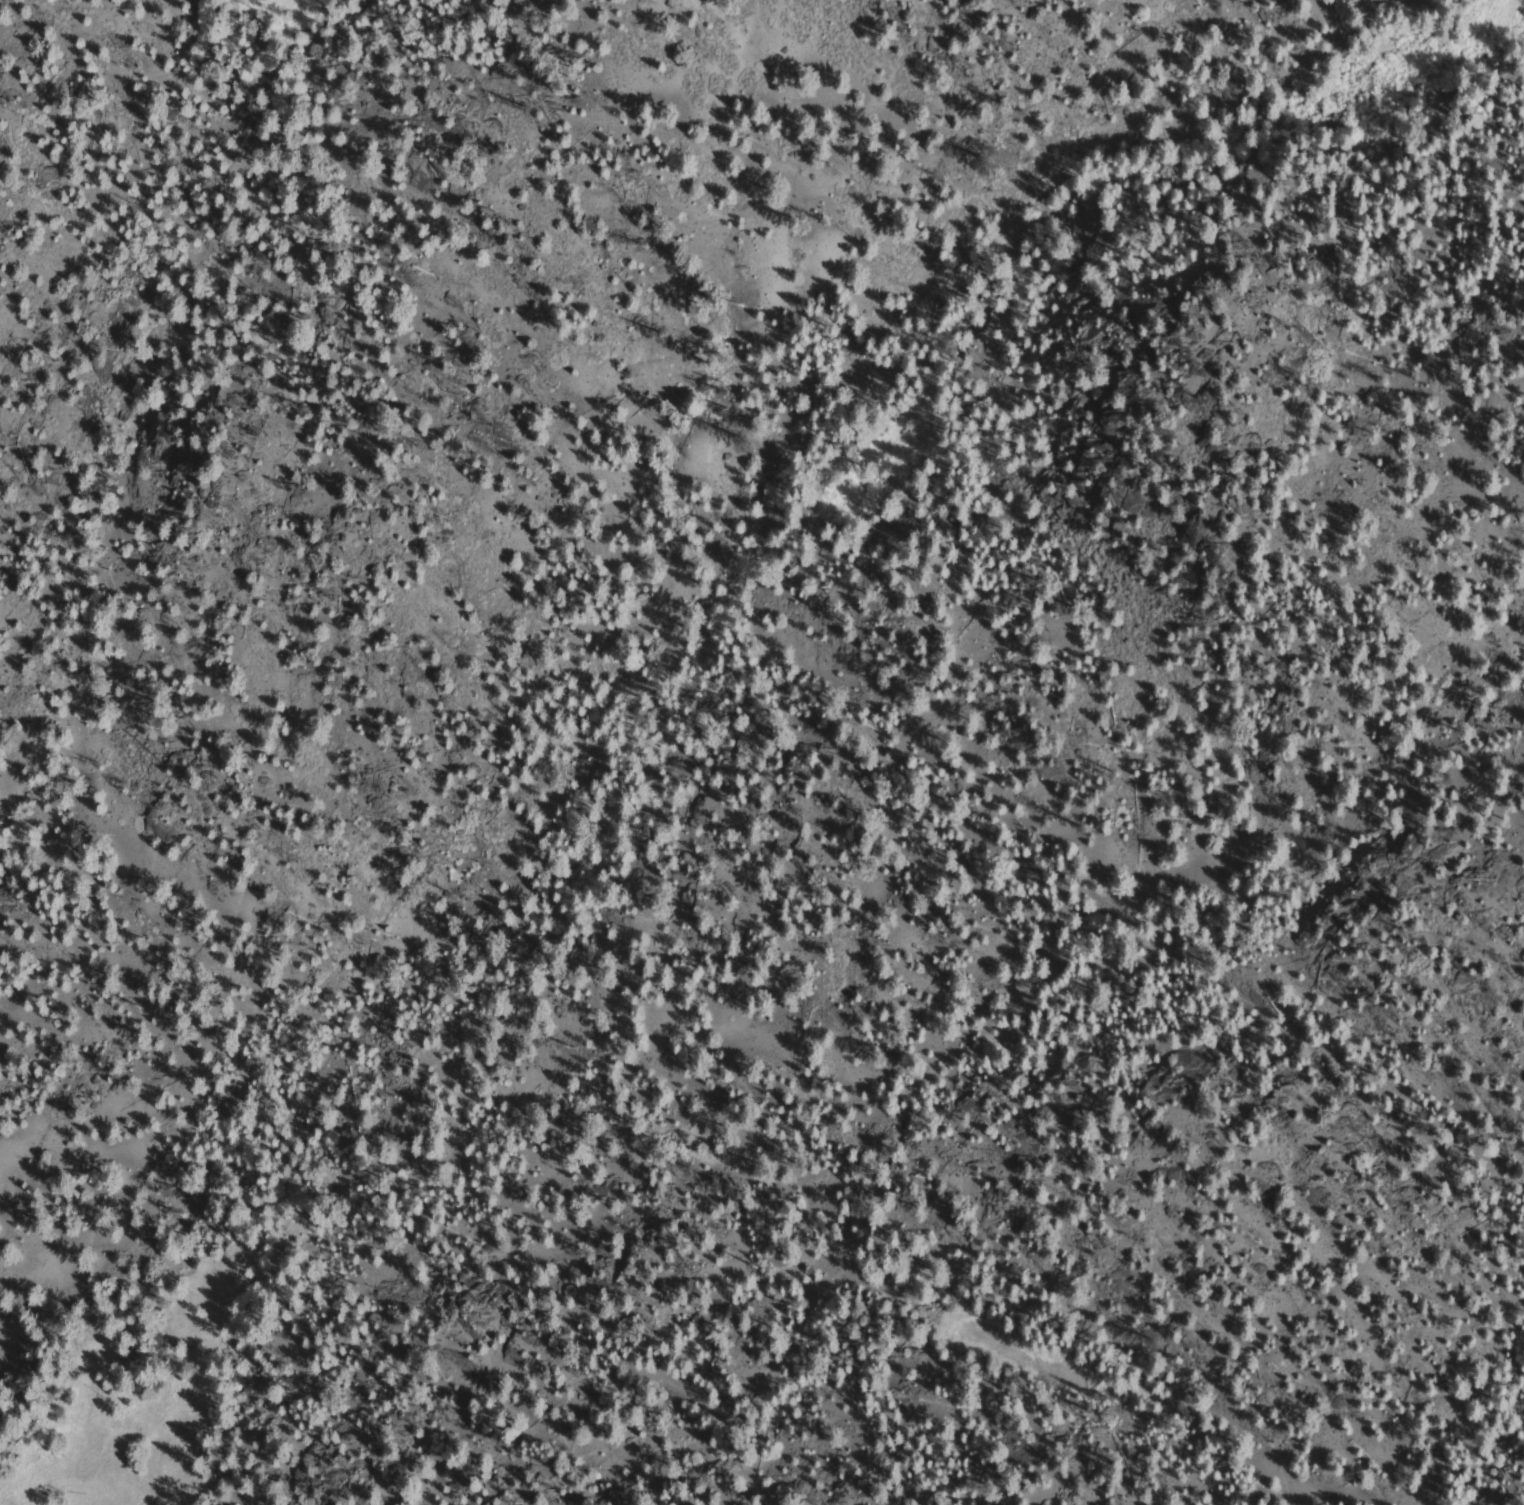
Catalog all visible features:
road: (728, 1096)

